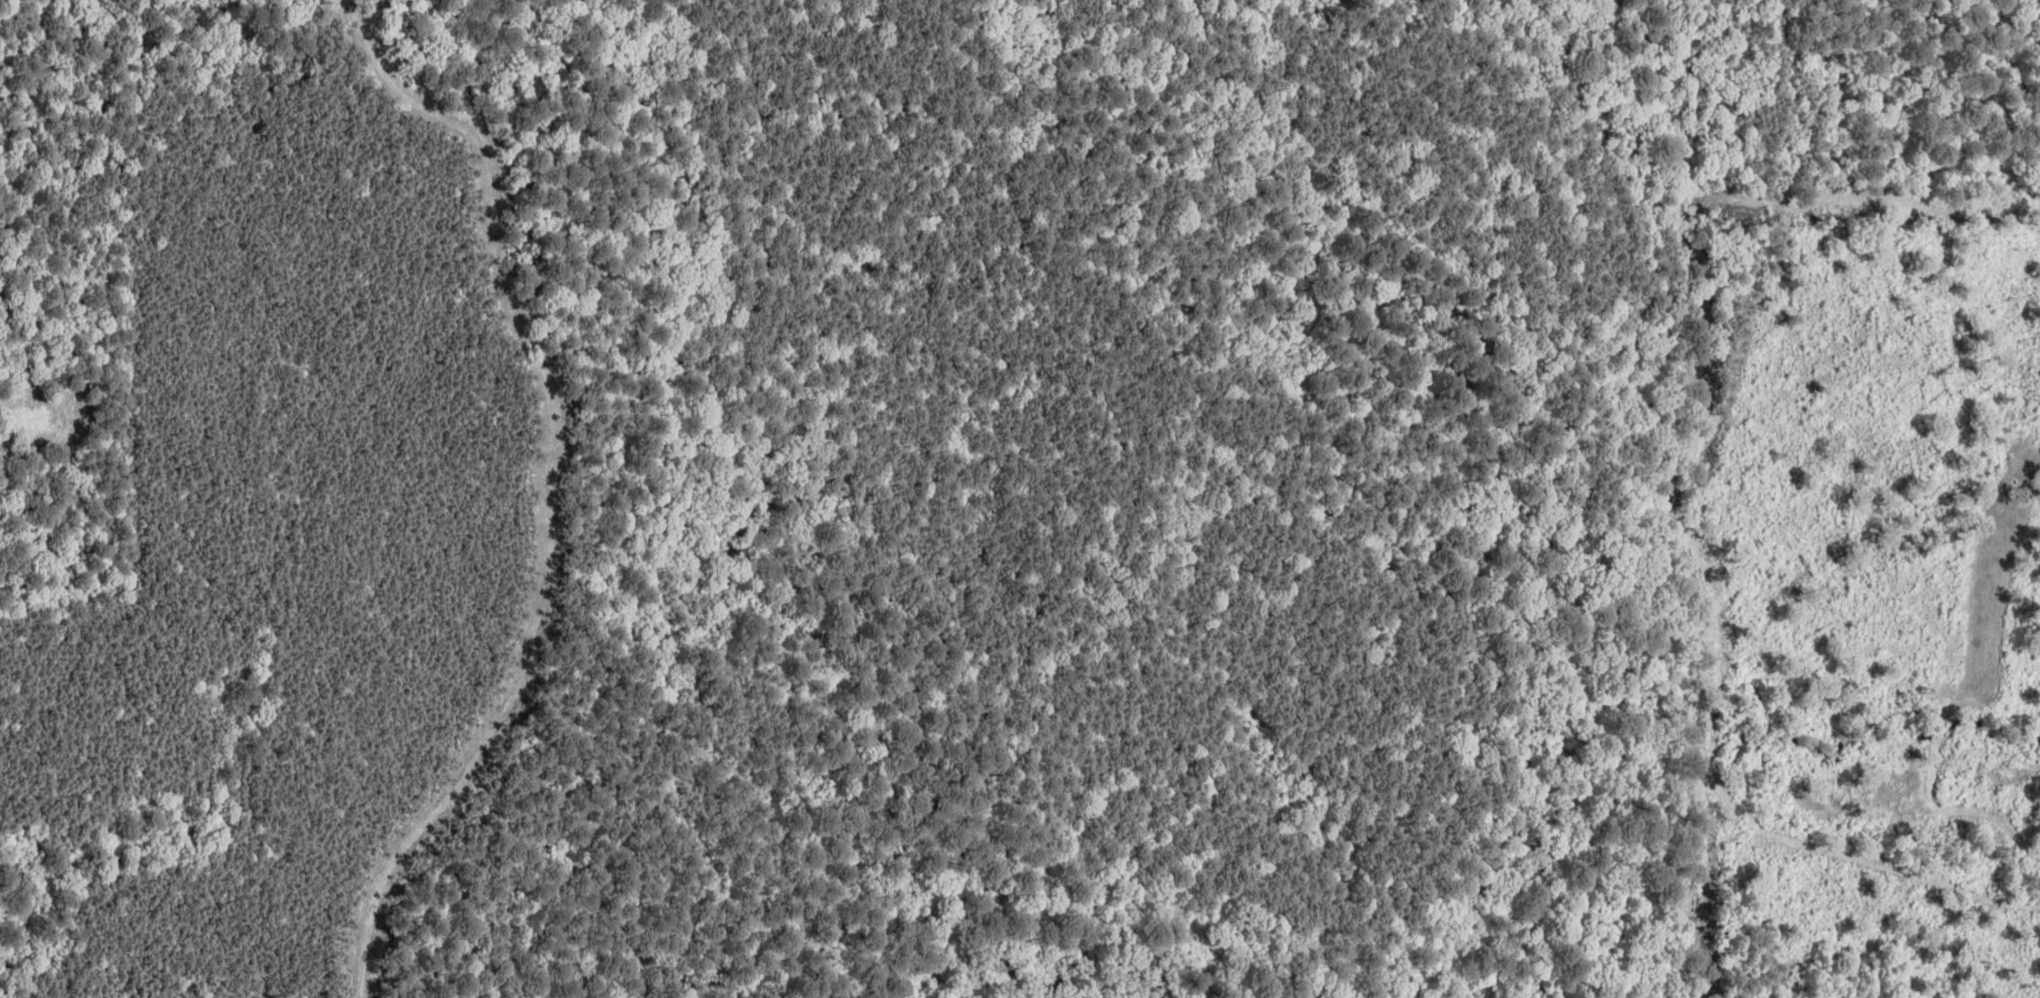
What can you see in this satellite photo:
road: (1775, 539)

